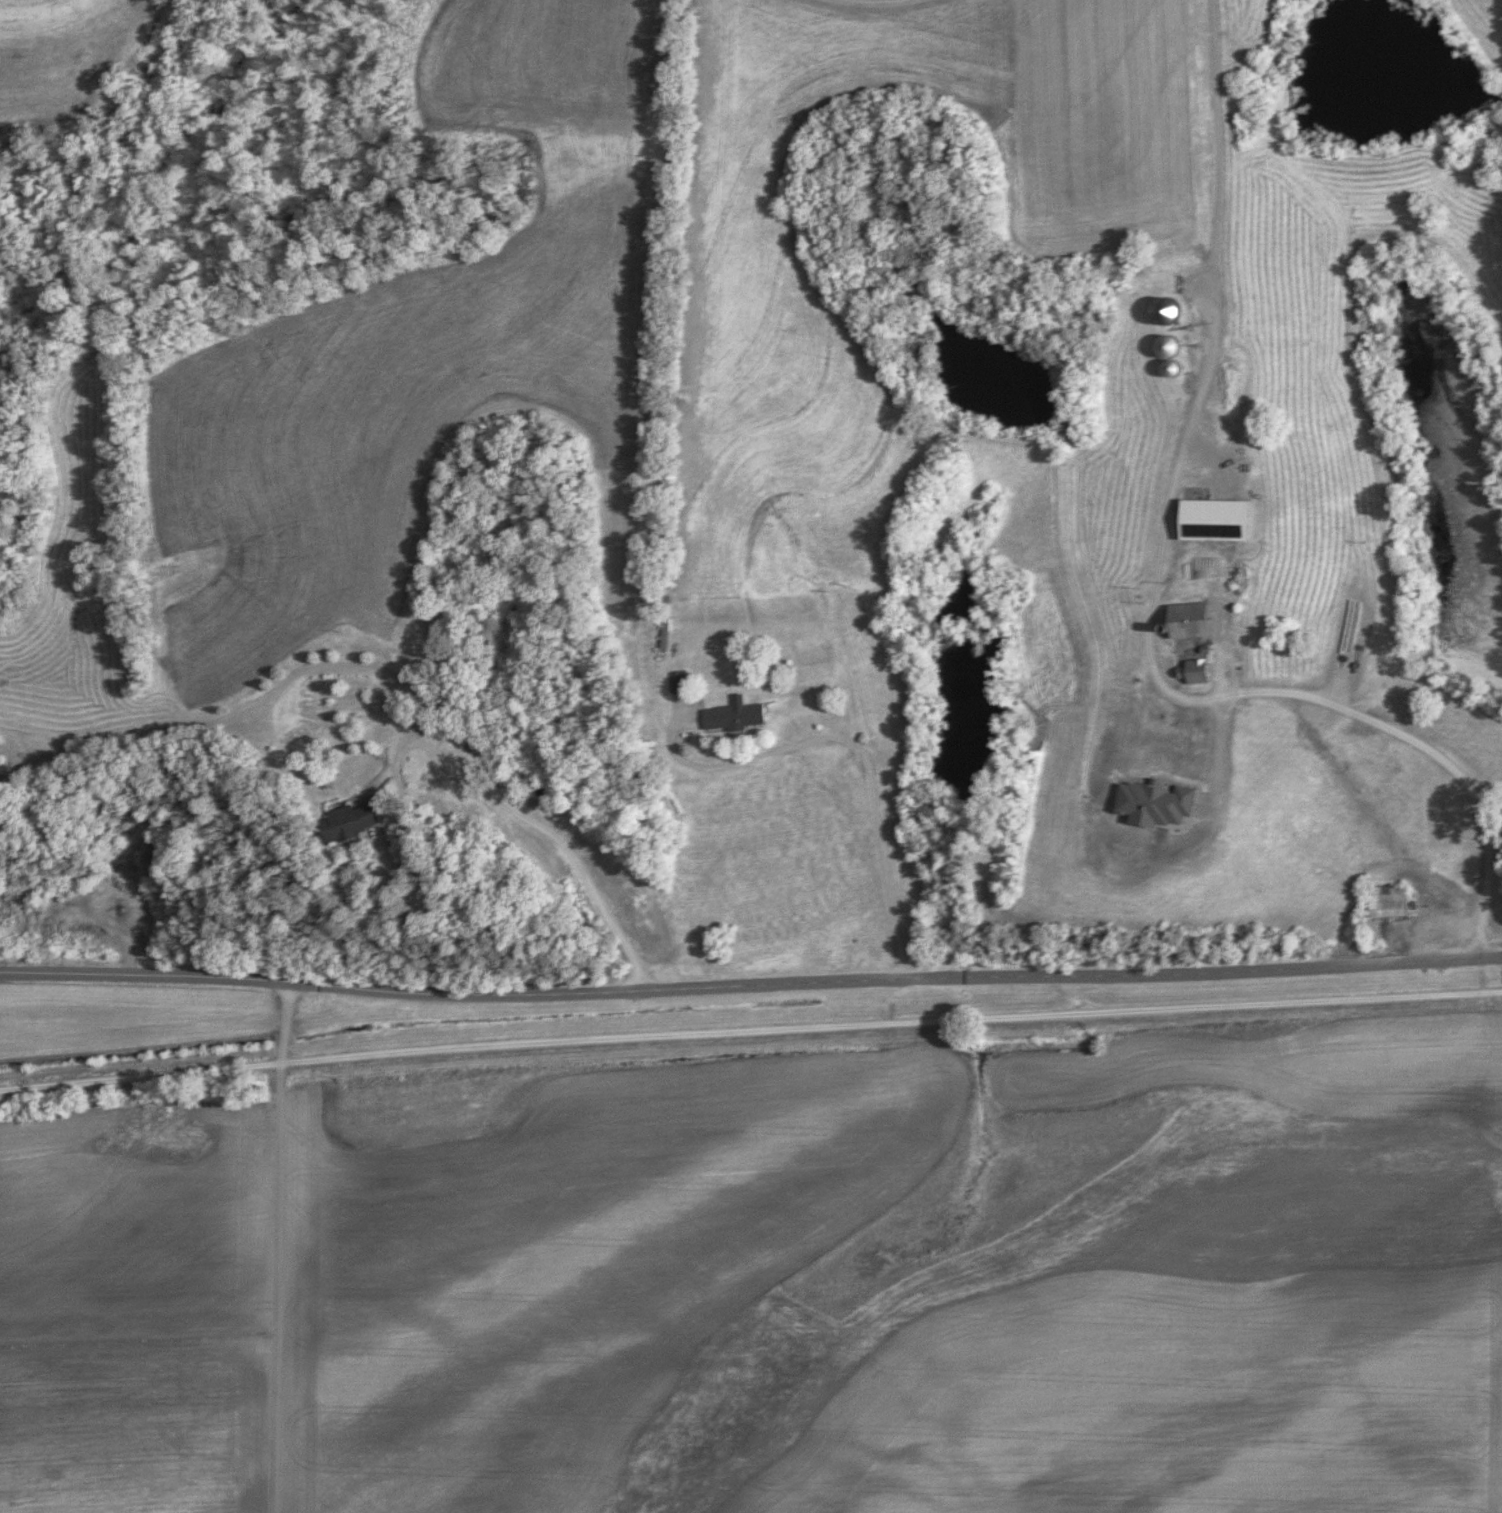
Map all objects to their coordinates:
road: (1207, 349)
building: (1167, 353)
building: (1188, 621)
road: (1215, 644)
building: (1194, 672)
road: (393, 677)
building: (677, 681)
road: (1244, 688)
building: (733, 715)
building: (1156, 717)
building: (1198, 722)
road: (864, 757)
building: (1184, 770)
building: (350, 821)
road: (408, 822)
building: (1135, 843)
building: (1387, 901)
road: (750, 985)
road: (750, 1033)
road: (276, 1247)
crop: (157, 1321)

